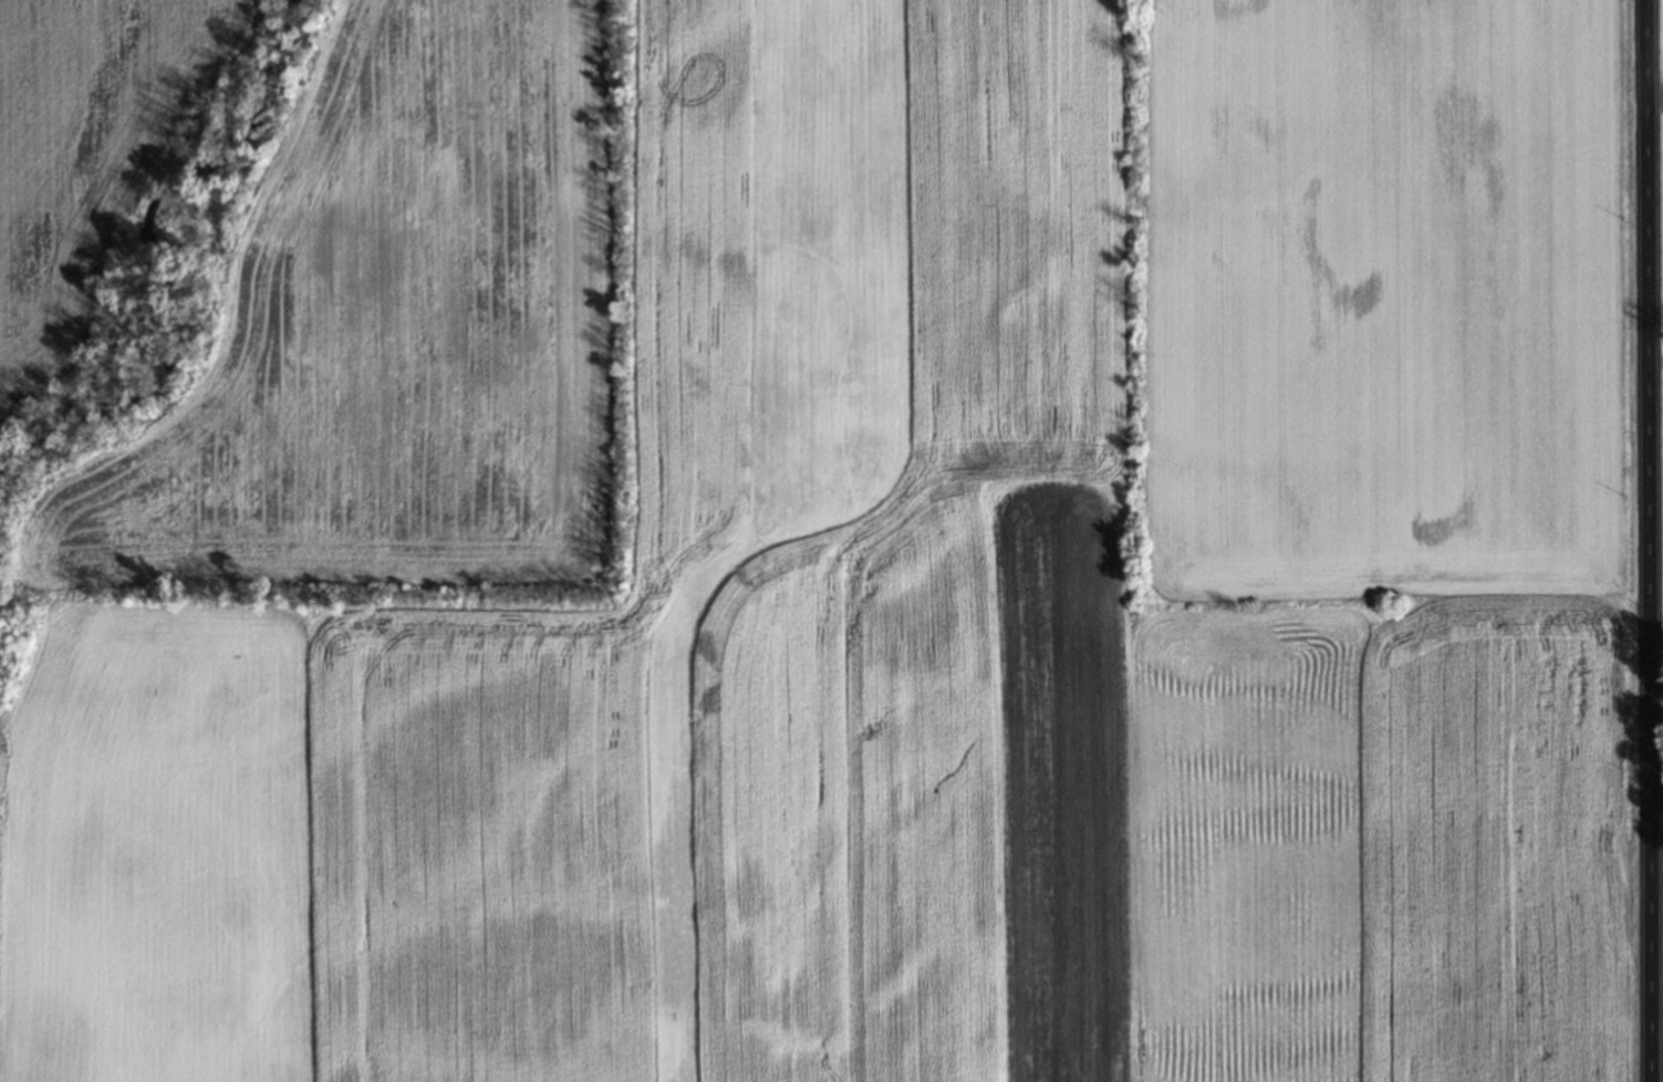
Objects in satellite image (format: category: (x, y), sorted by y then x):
road: (1648, 541)
road: (1655, 862)

